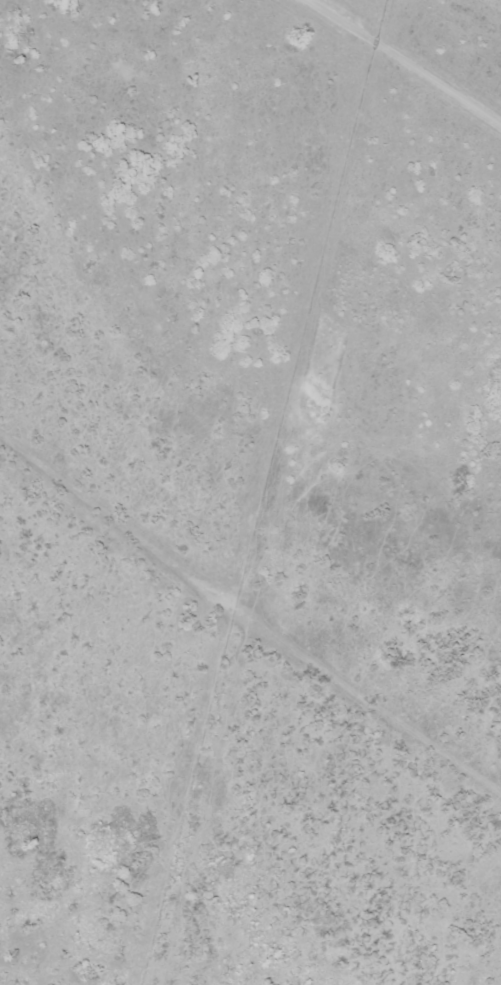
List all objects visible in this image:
road: (402, 65)

